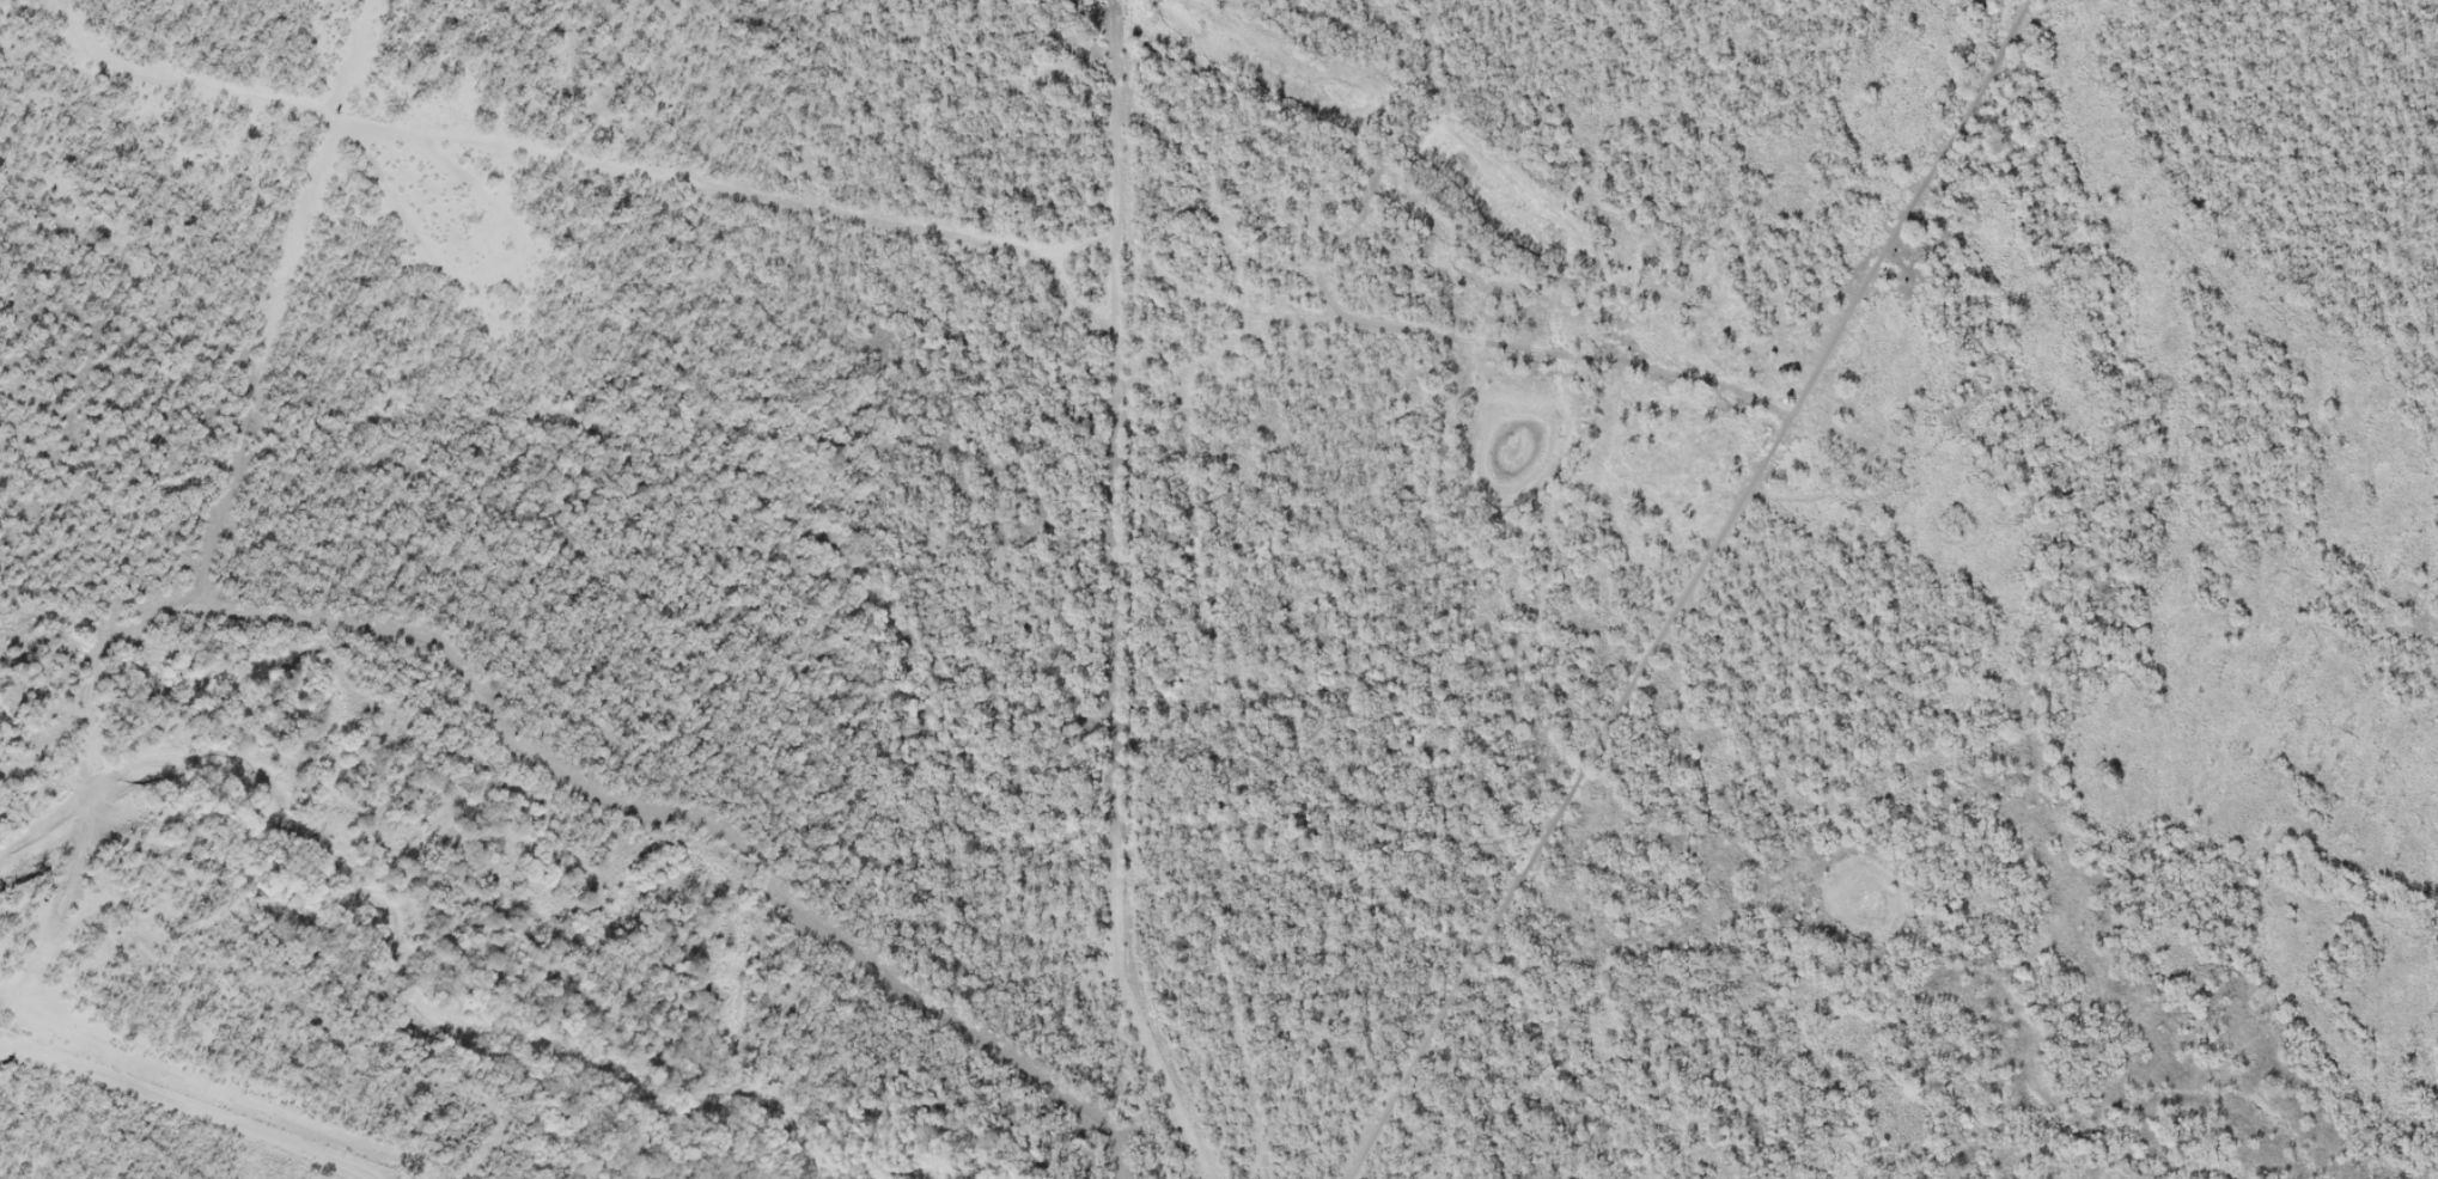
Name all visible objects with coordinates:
river: (425, 1004)

